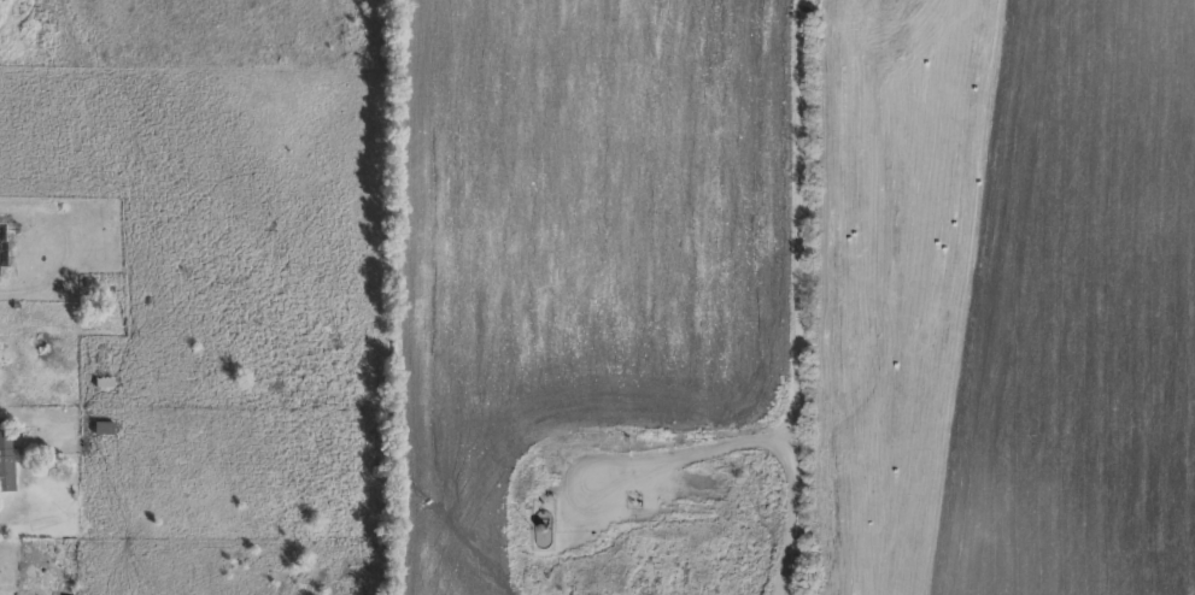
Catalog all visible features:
building: (1, 0)
building: (5, 465)

